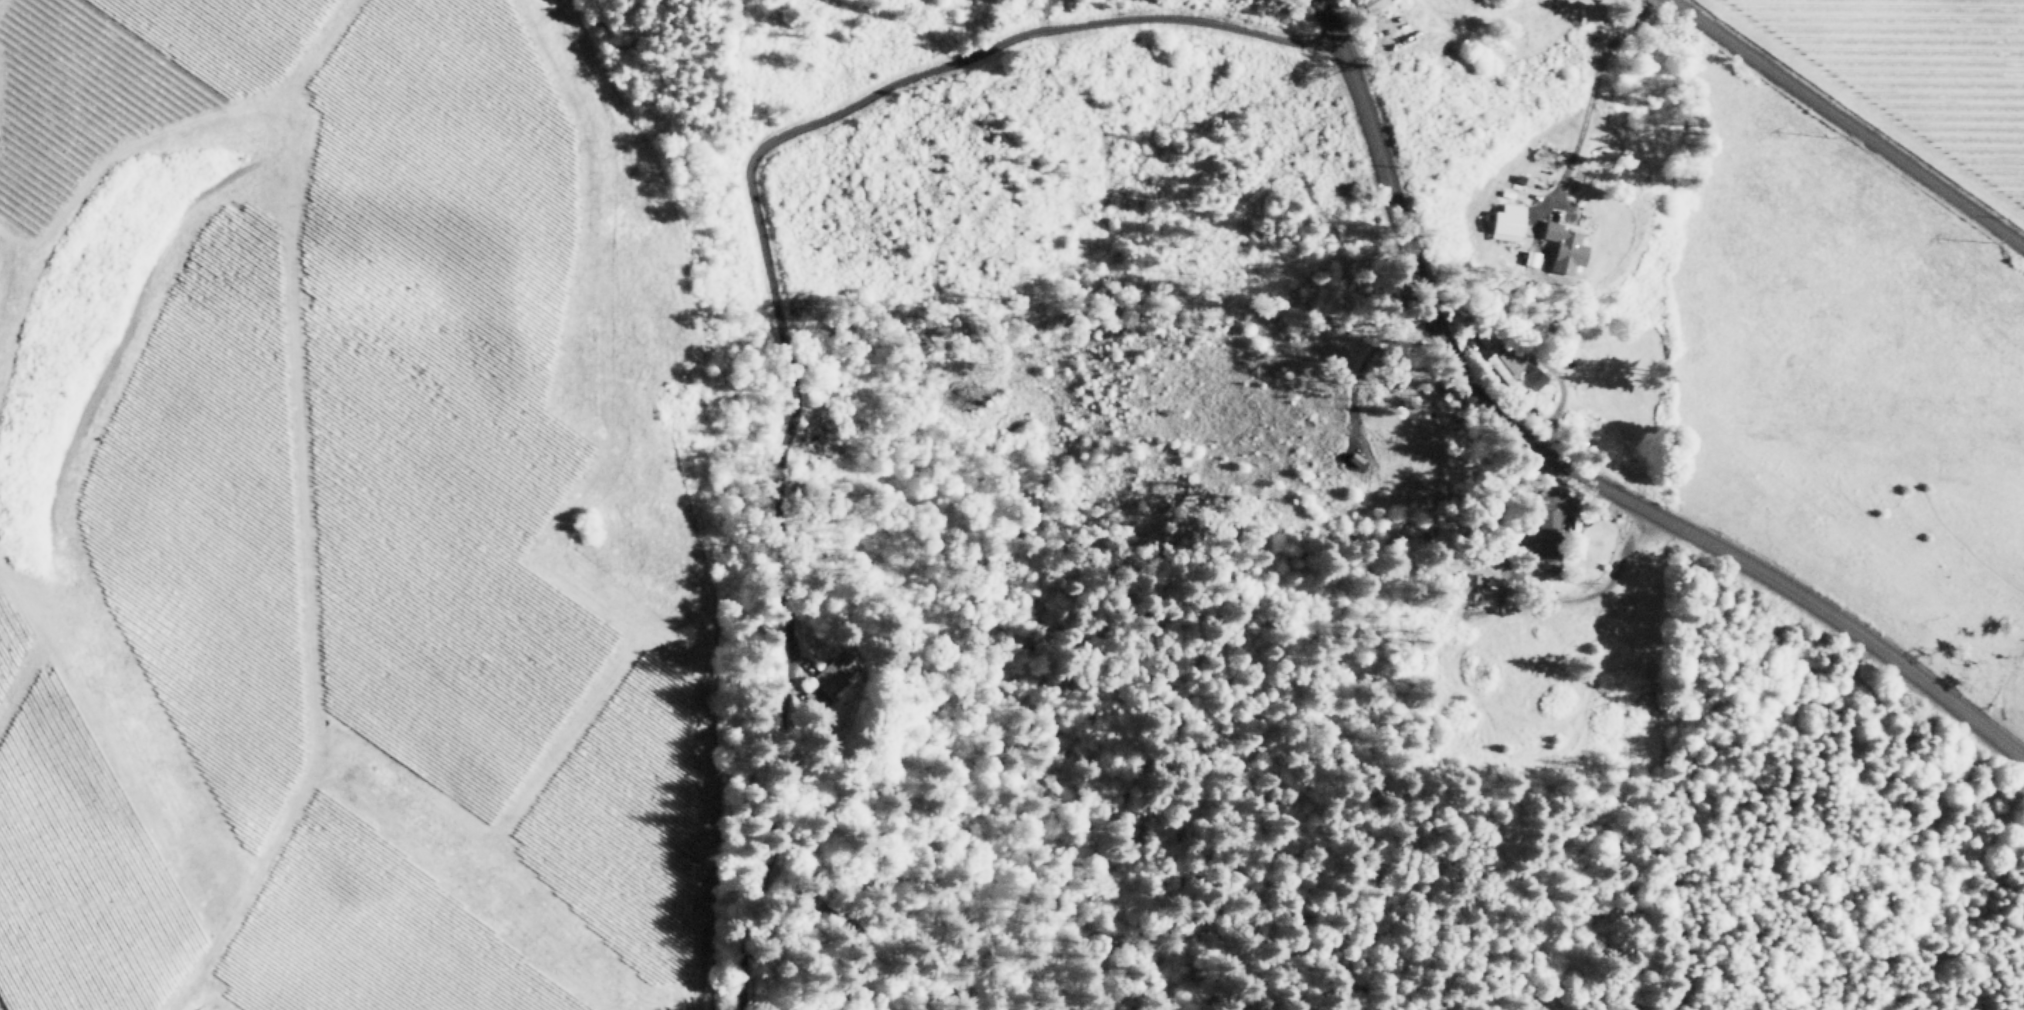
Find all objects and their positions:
building: (1372, 3)
road: (1592, 93)
road: (1847, 123)
building: (1507, 220)
building: (1564, 246)
building: (1531, 257)
road: (765, 279)
building: (1508, 364)
building: (1535, 375)
road: (1565, 465)
building: (1547, 532)
building: (1472, 585)
building: (834, 669)

